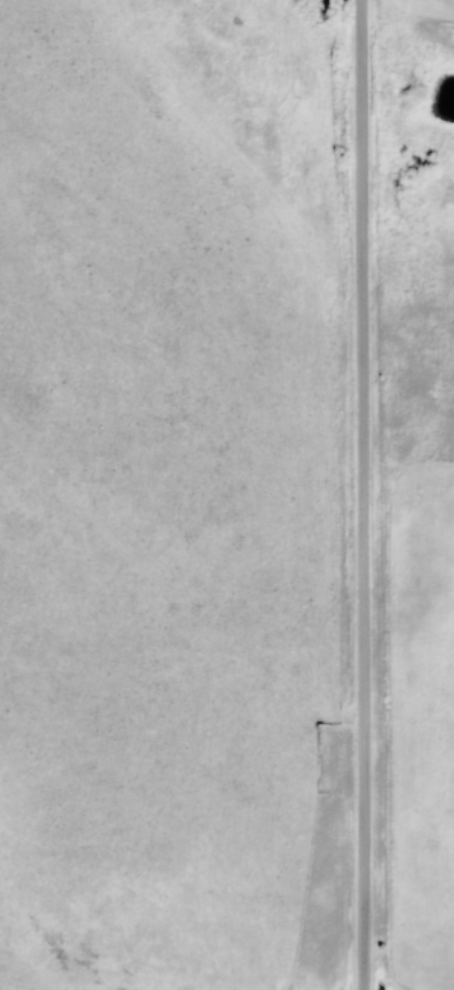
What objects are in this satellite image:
road: (362, 494)

